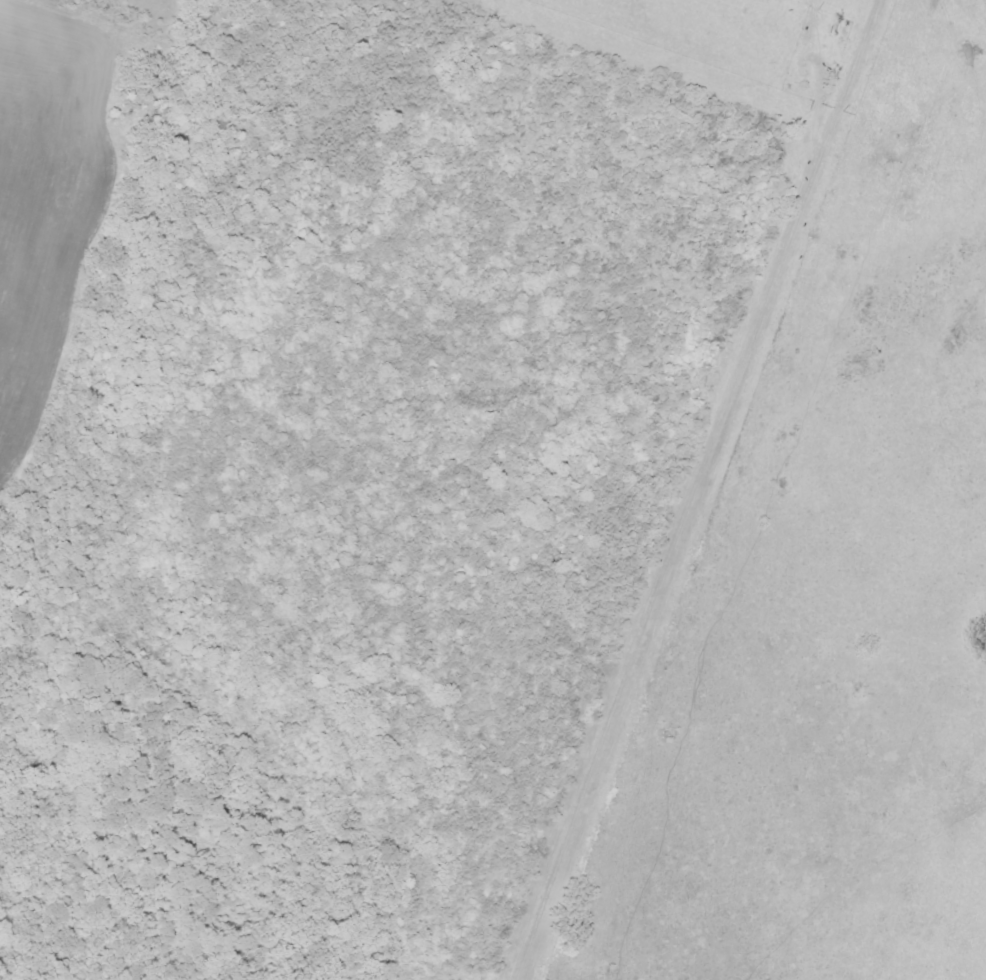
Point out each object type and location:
road: (456, 489)
road: (691, 491)

